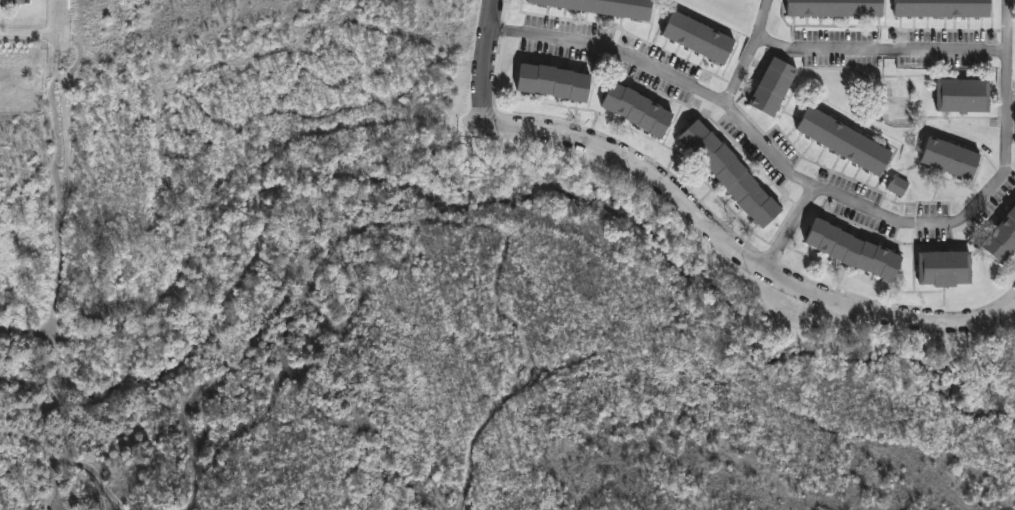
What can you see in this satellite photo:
building: (18, 1)
building: (609, 6)
building: (836, 7)
building: (943, 8)
road: (61, 19)
building: (698, 36)
road: (30, 37)
road: (885, 49)
road: (484, 58)
road: (755, 58)
building: (553, 81)
building: (773, 86)
building: (902, 87)
building: (963, 95)
building: (638, 109)
building: (846, 140)
building: (952, 156)
building: (731, 173)
building: (900, 186)
road: (826, 189)
road: (790, 227)
building: (1002, 239)
building: (854, 250)
road: (738, 251)
building: (945, 268)

